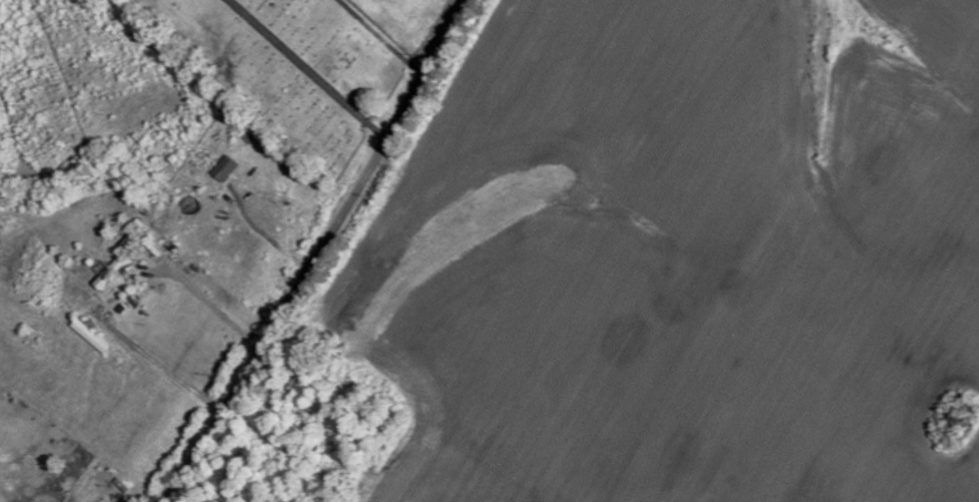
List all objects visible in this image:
park: (293, 68)
building: (225, 169)
road: (314, 252)
building: (112, 273)

